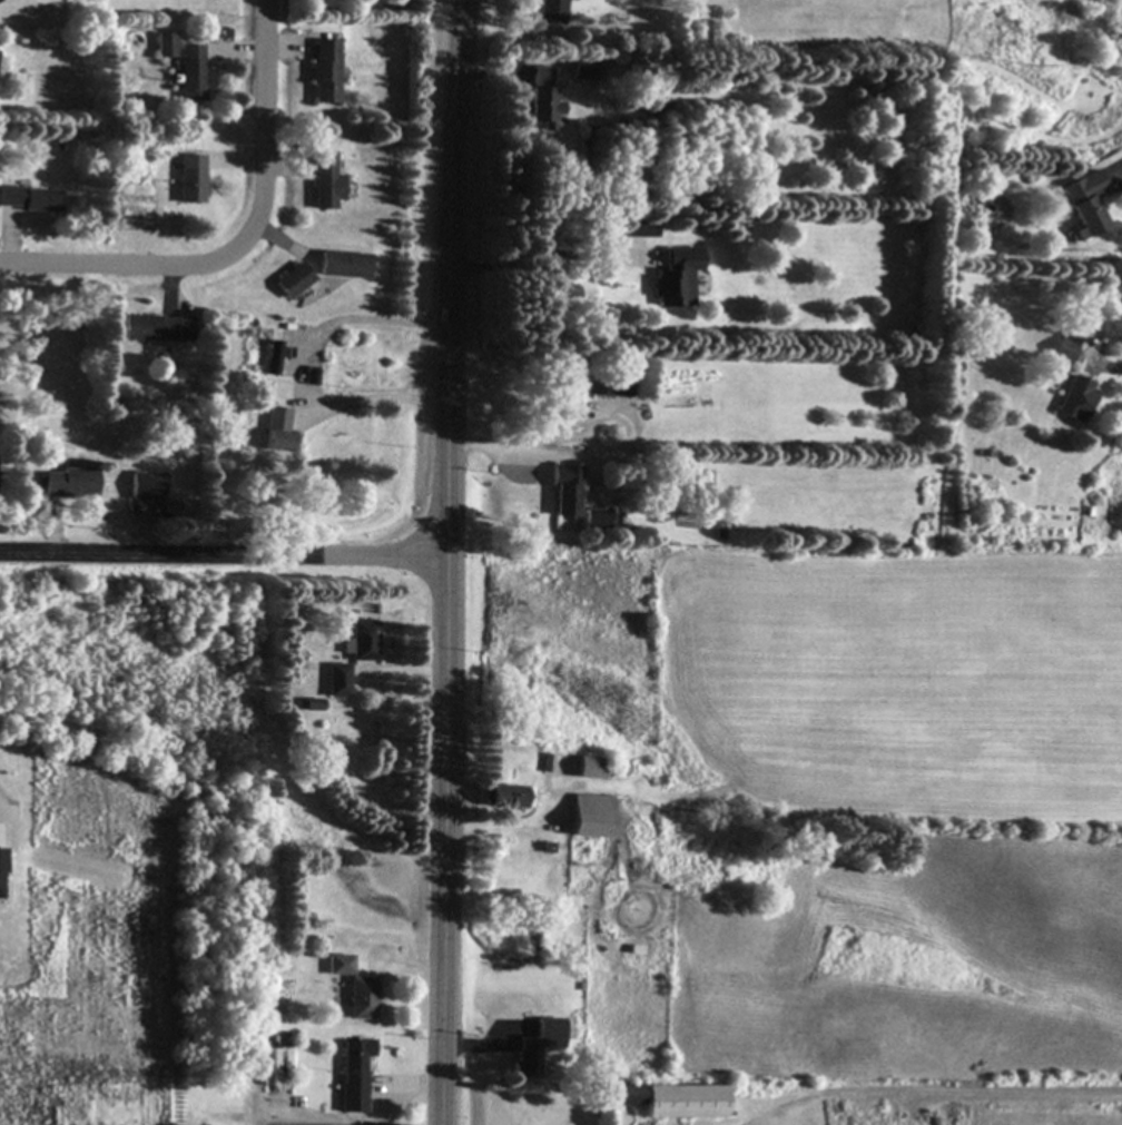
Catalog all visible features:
building: (552, 12)
building: (165, 46)
building: (582, 71)
building: (325, 72)
building: (190, 73)
building: (541, 77)
building: (544, 108)
building: (189, 180)
road: (267, 181)
building: (325, 182)
building: (29, 199)
building: (1085, 206)
building: (639, 229)
road: (66, 260)
building: (342, 265)
building: (678, 278)
building: (292, 282)
building: (156, 329)
building: (1065, 348)
building: (270, 358)
road: (298, 366)
building: (613, 388)
building: (1076, 401)
building: (274, 420)
building: (273, 442)
road: (491, 447)
building: (69, 484)
building: (146, 487)
building: (563, 491)
building: (594, 519)
road: (223, 551)
road: (446, 562)
building: (360, 642)
building: (336, 681)
building: (585, 769)
building: (506, 798)
building: (588, 818)
building: (0, 870)
building: (339, 966)
building: (362, 999)
building: (535, 1047)
building: (279, 1067)
building: (354, 1076)
building: (624, 1097)
building: (683, 1104)

